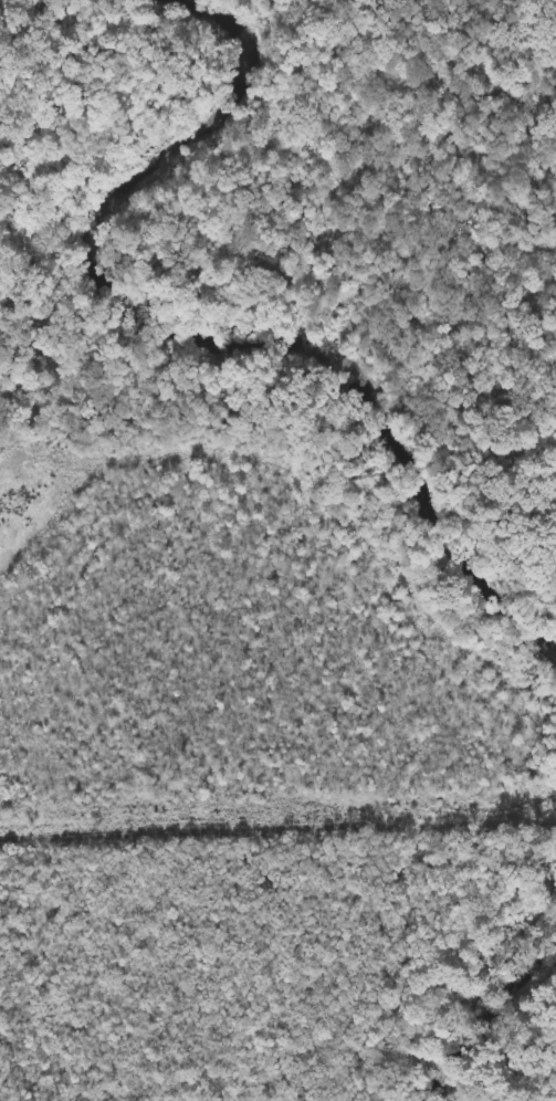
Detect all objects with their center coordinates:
river: (188, 344)
road: (277, 820)
river: (497, 1037)

